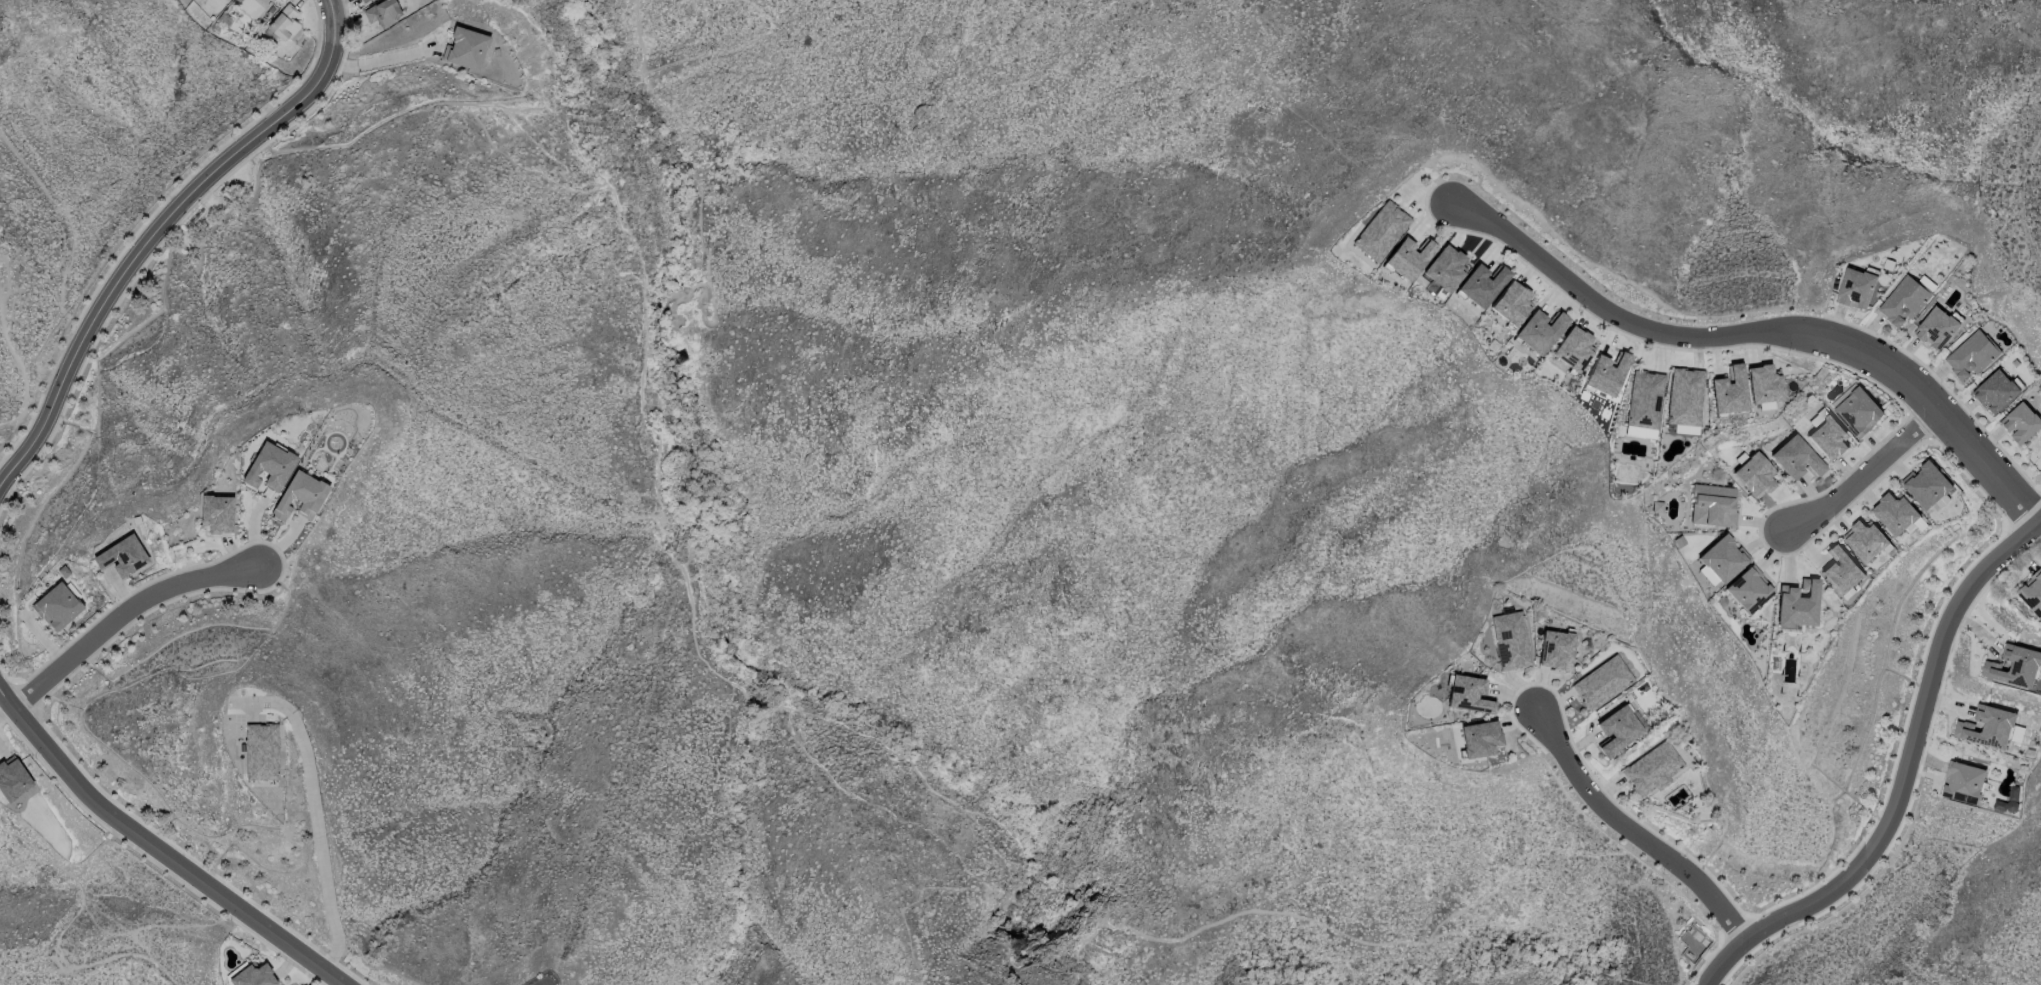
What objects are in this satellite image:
building: (363, 1)
building: (252, 6)
building: (382, 12)
road: (329, 16)
building: (283, 23)
building: (465, 48)
road: (380, 60)
building: (1381, 231)
road: (150, 240)
building: (1409, 257)
building: (1445, 268)
building: (1481, 285)
building: (1856, 288)
building: (1903, 301)
building: (1511, 303)
building: (1937, 328)
road: (1756, 329)
building: (1539, 330)
building: (1573, 348)
building: (1971, 354)
road: (26, 366)
building: (1606, 373)
building: (1763, 386)
building: (1729, 391)
building: (1996, 391)
building: (1685, 396)
building: (1644, 404)
building: (1856, 410)
building: (2021, 422)
building: (1827, 436)
building: (1795, 458)
building: (268, 466)
building: (1754, 475)
road: (1862, 476)
building: (1927, 484)
building: (299, 496)
building: (1712, 505)
building: (216, 513)
building: (1897, 514)
building: (1866, 540)
building: (121, 556)
building: (1722, 558)
building: (1841, 571)
building: (1748, 589)
building: (2032, 592)
building: (1797, 604)
building: (56, 606)
road: (130, 608)
building: (1510, 640)
building: (1555, 649)
building: (2013, 666)
building: (1601, 683)
building: (1468, 694)
building: (1986, 727)
building: (1616, 730)
building: (1479, 739)
building: (261, 750)
building: (1652, 769)
building: (12, 779)
road: (1902, 782)
building: (1964, 782)
building: (2008, 800)
road: (313, 818)
road: (1629, 826)
road: (160, 847)
road: (60, 935)
building: (253, 976)

